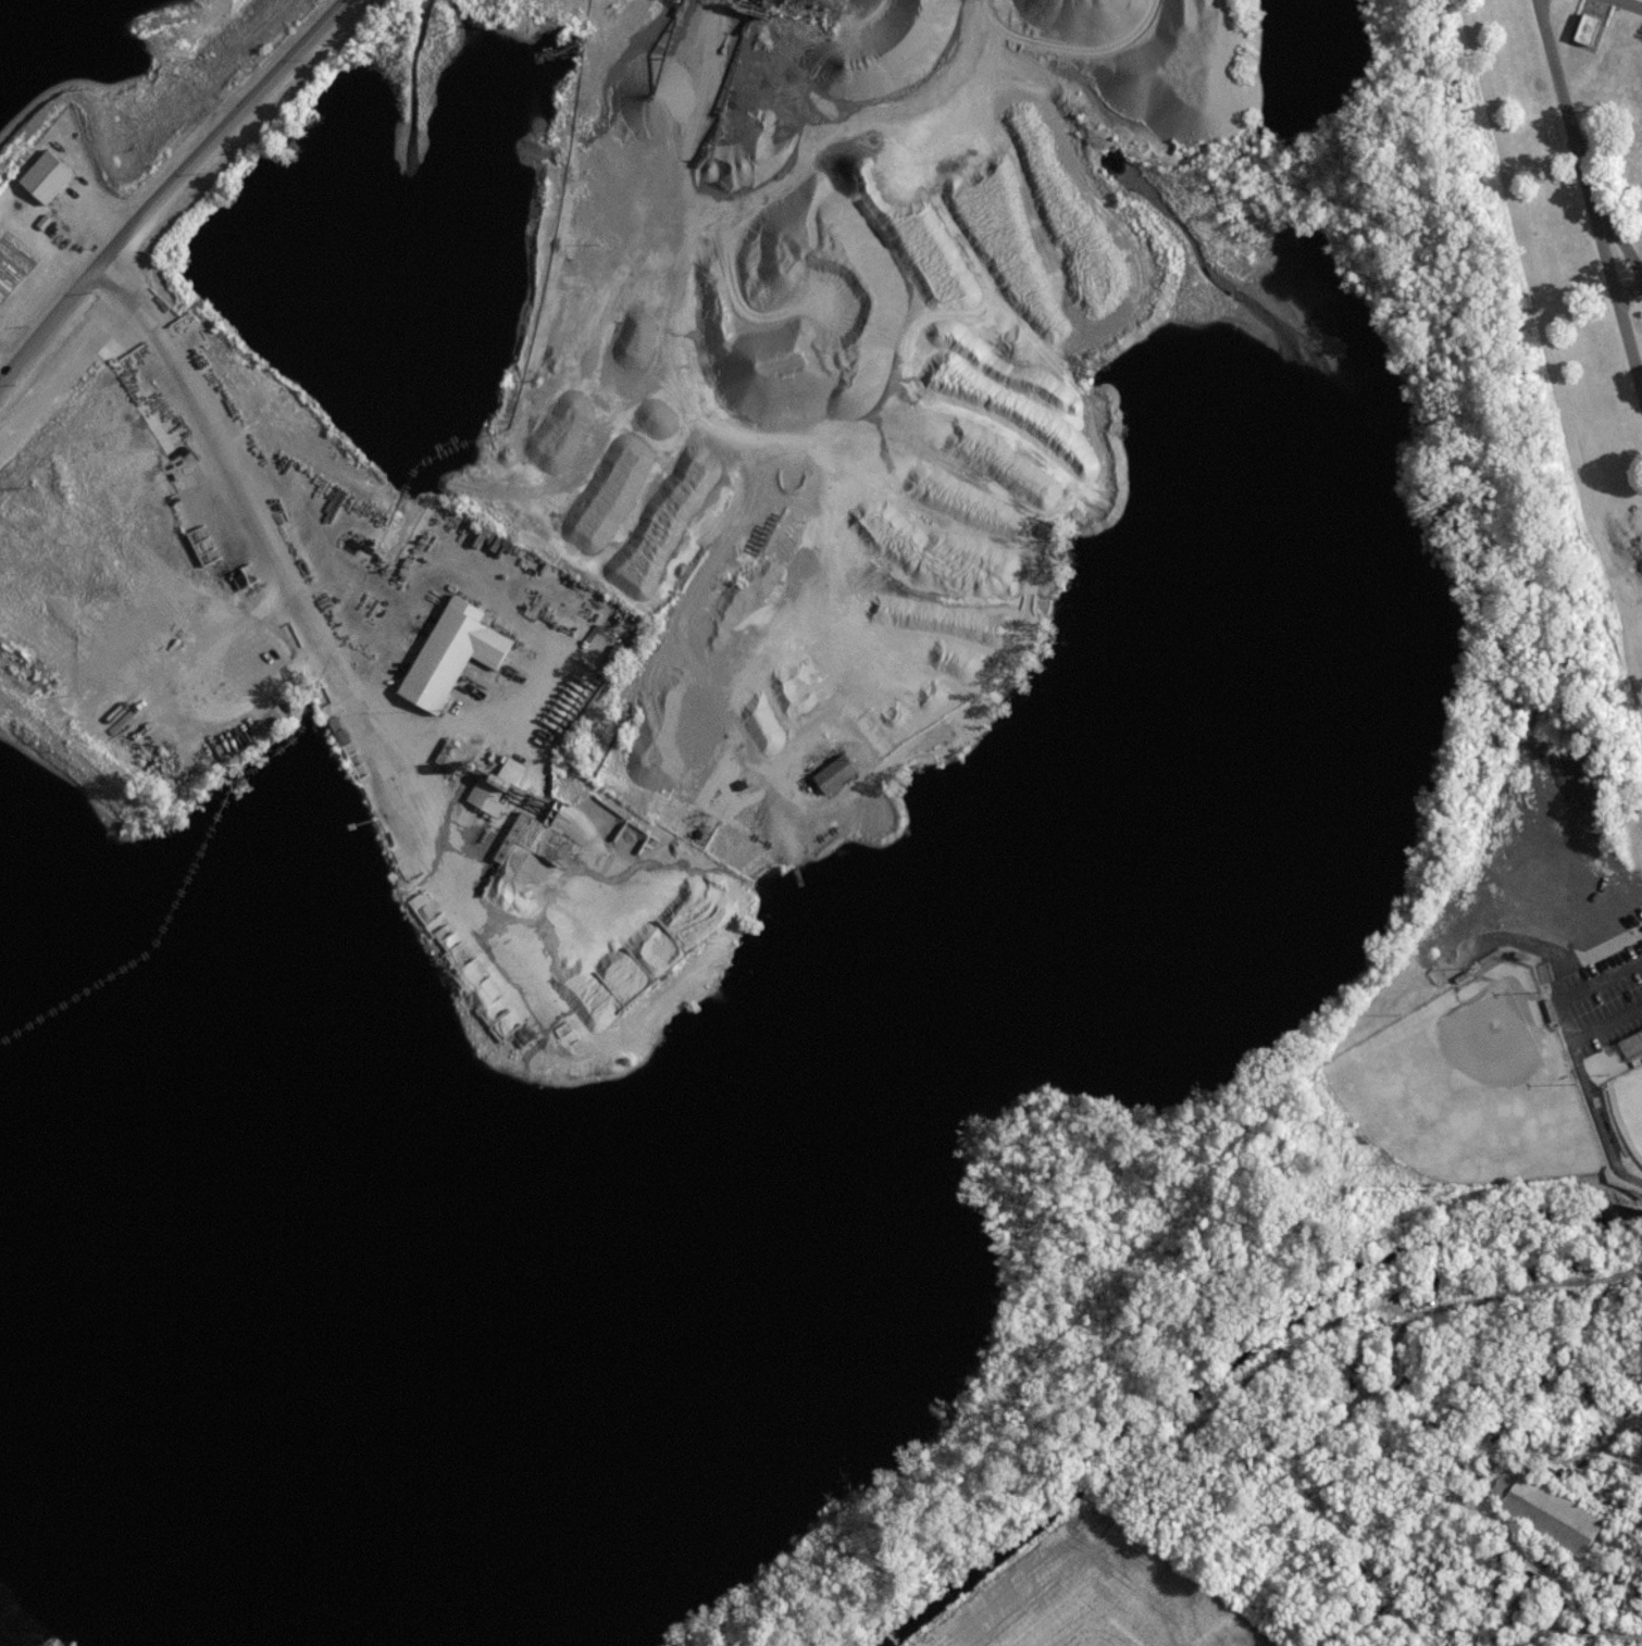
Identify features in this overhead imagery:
road: (1538, 3)
road: (1629, 4)
road: (1572, 148)
road: (163, 194)
road: (104, 216)
park: (1576, 277)
road: (1628, 297)
road: (1618, 308)
road: (265, 548)
quarry: (772, 839)
parking lot: (1551, 885)
road: (1547, 953)
parking lot: (1599, 998)
road: (1585, 1076)
road: (1616, 1078)
park: (1471, 1089)
park: (1629, 1114)
crop: (1096, 1596)

